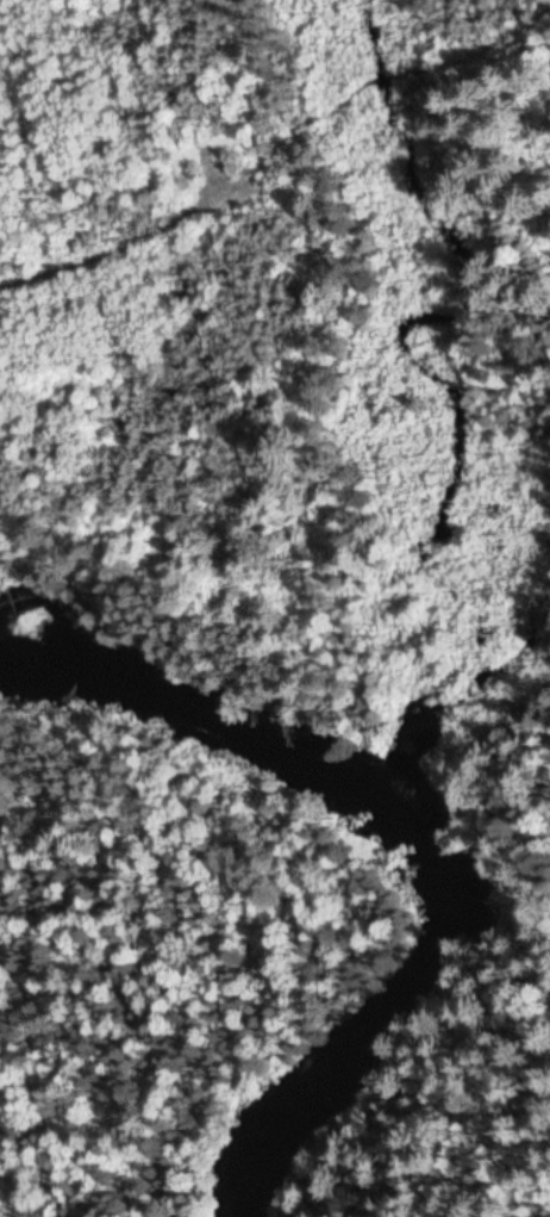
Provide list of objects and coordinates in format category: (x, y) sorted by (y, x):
road: (256, 148)
river: (231, 739)
river: (444, 850)
river: (448, 890)
river: (473, 920)
river: (368, 1069)

